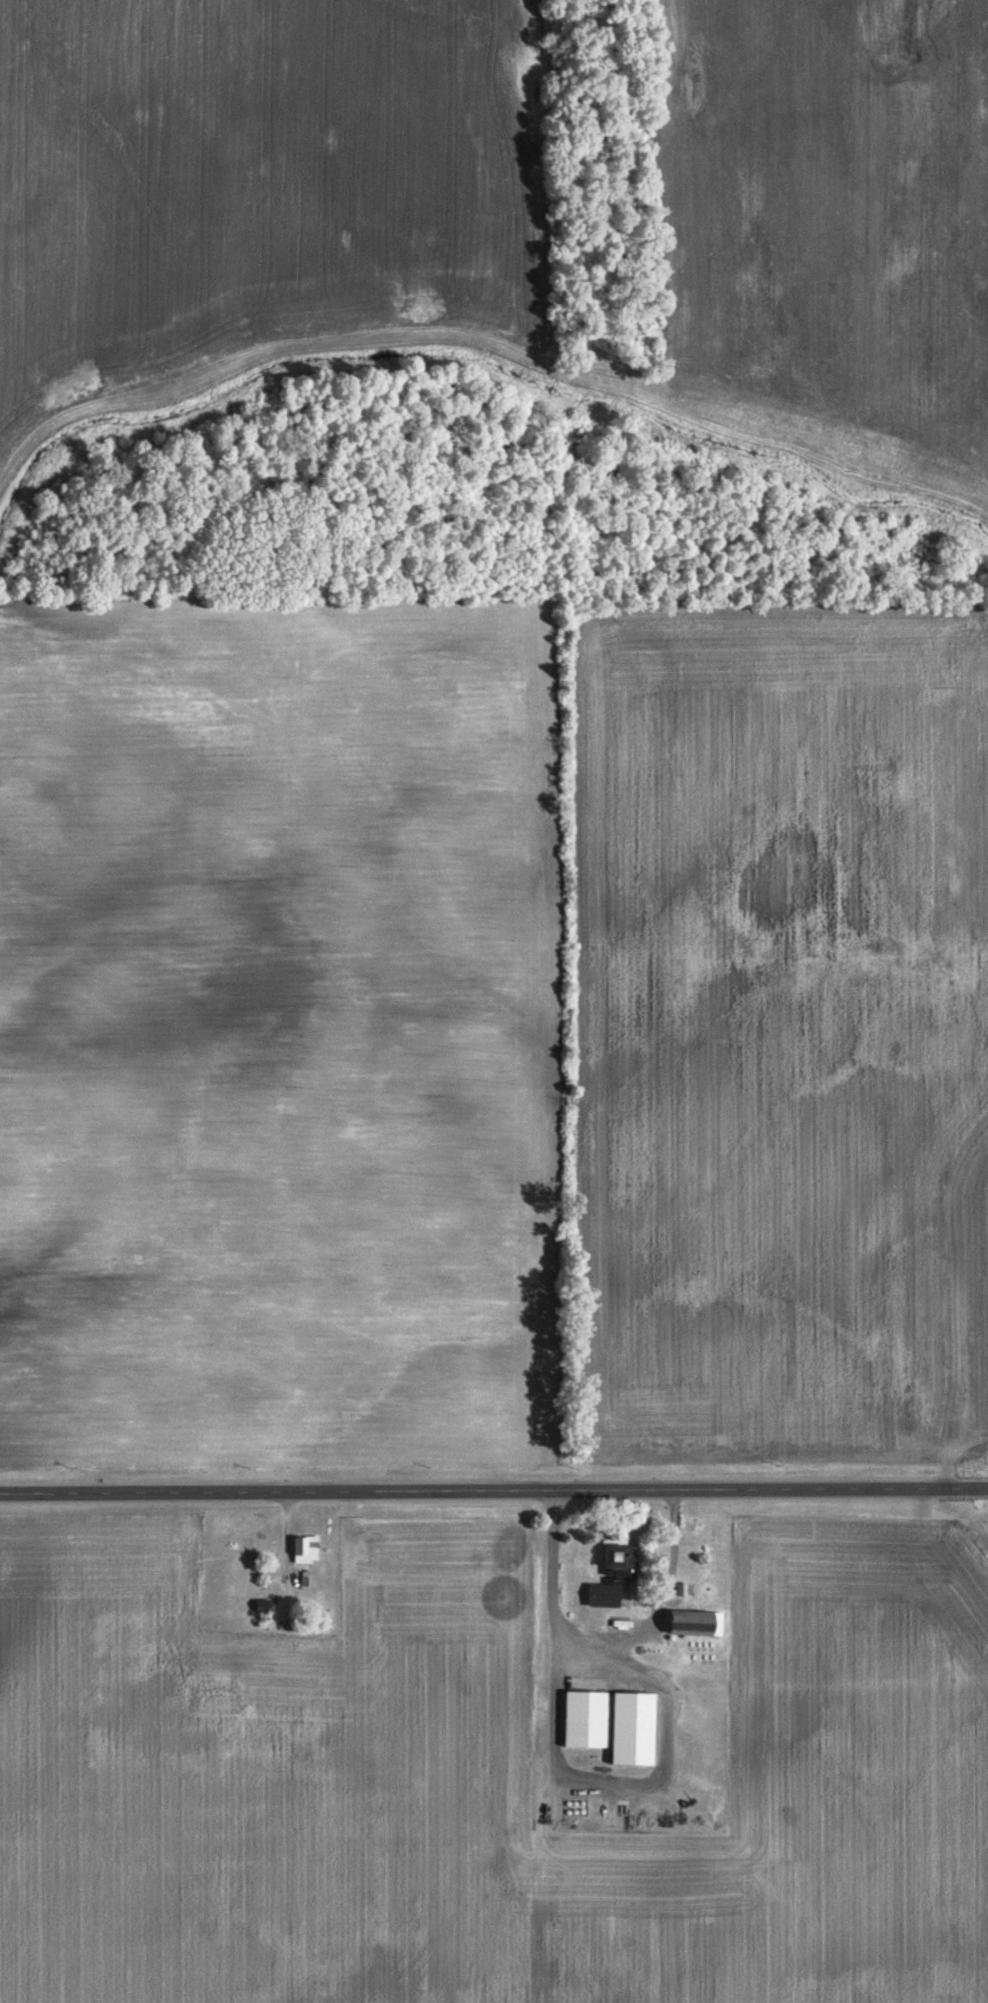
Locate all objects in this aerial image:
road: (493, 1486)
building: (305, 1548)
building: (621, 1560)
building: (681, 1588)
building: (604, 1594)
building: (698, 1622)
building: (586, 1718)
building: (633, 1726)

